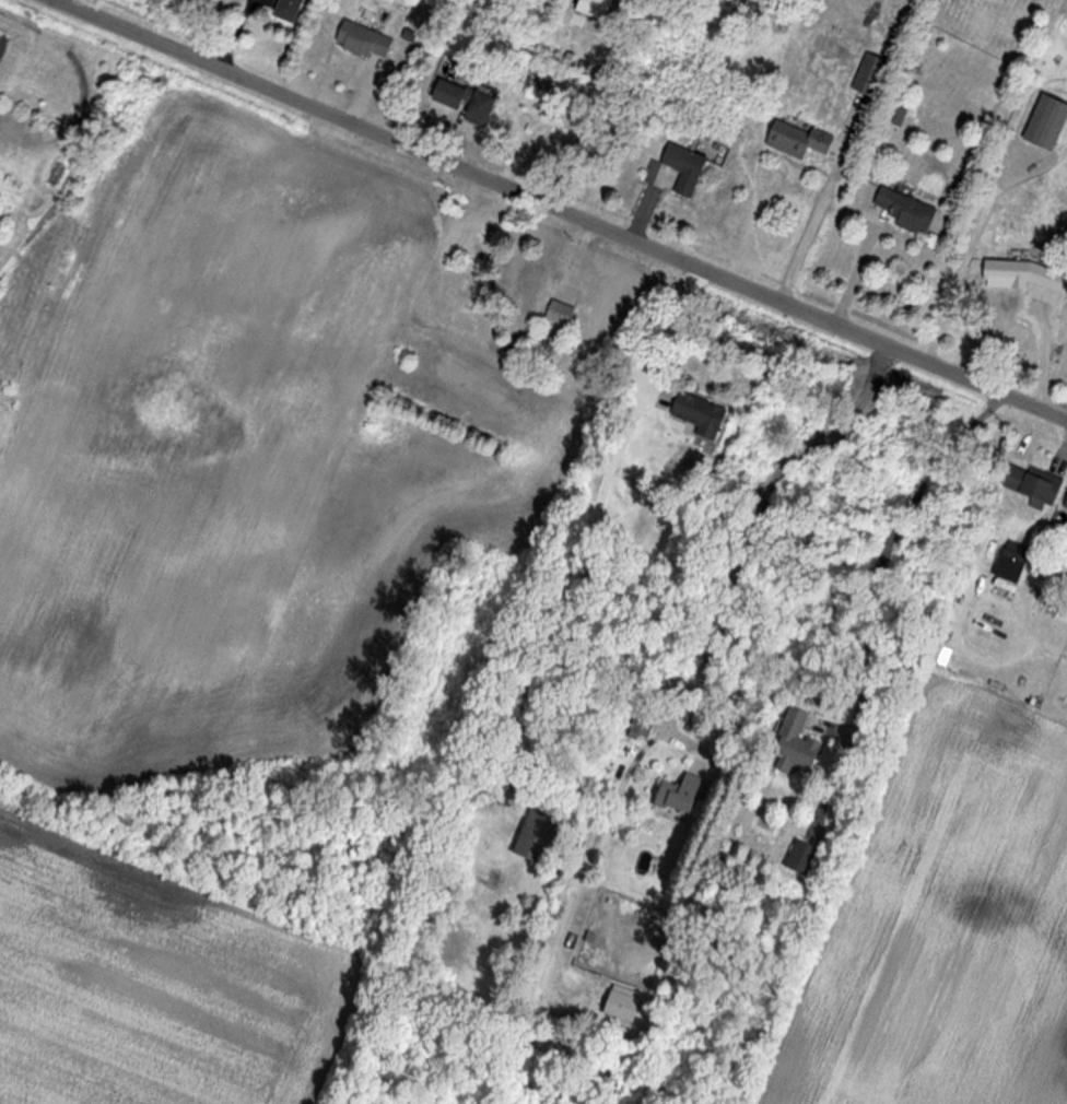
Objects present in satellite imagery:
building: (590, 9)
building: (285, 10)
building: (361, 42)
building: (867, 77)
building: (444, 95)
building: (477, 111)
road: (553, 124)
building: (1043, 124)
building: (793, 140)
building: (681, 169)
road: (559, 212)
building: (901, 212)
road: (821, 247)
building: (1027, 275)
road: (673, 336)
building: (695, 413)
building: (1030, 483)
building: (1064, 502)
road: (754, 526)
road: (889, 548)
building: (1011, 557)
building: (640, 723)
building: (792, 743)
building: (675, 795)
building: (533, 837)
building: (798, 857)

